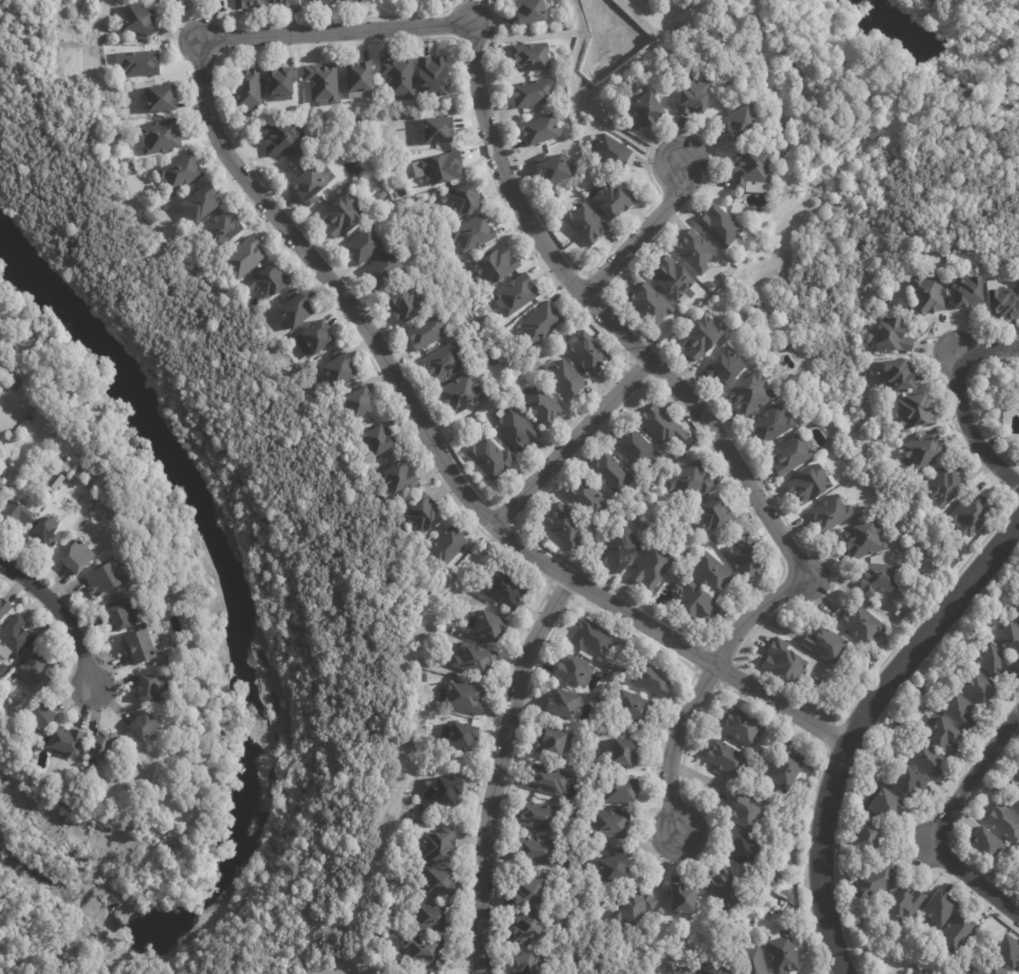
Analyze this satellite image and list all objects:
building: (348, 0)
building: (362, 0)
building: (167, 1)
building: (320, 1)
building: (283, 3)
building: (247, 4)
building: (529, 10)
road: (576, 14)
road: (982, 15)
road: (644, 20)
building: (139, 21)
park: (977, 25)
road: (526, 32)
road: (333, 37)
building: (531, 57)
road: (637, 61)
building: (138, 63)
building: (399, 77)
building: (432, 77)
building: (359, 79)
building: (323, 82)
building: (281, 84)
building: (248, 87)
building: (532, 94)
building: (161, 98)
building: (693, 98)
road: (856, 107)
building: (645, 111)
road: (602, 117)
building: (740, 124)
building: (437, 130)
building: (540, 130)
building: (121, 136)
building: (159, 137)
building: (283, 140)
building: (610, 152)
building: (443, 169)
building: (754, 170)
building: (554, 171)
building: (179, 172)
building: (323, 176)
building: (309, 185)
building: (403, 193)
building: (383, 195)
building: (465, 200)
building: (203, 201)
building: (612, 201)
building: (341, 215)
building: (148, 217)
building: (586, 224)
building: (720, 227)
building: (221, 229)
building: (473, 234)
road: (640, 238)
building: (362, 246)
building: (694, 252)
building: (244, 258)
building: (735, 259)
building: (497, 266)
building: (382, 269)
building: (673, 279)
building: (268, 282)
building: (966, 292)
building: (517, 295)
building: (927, 295)
building: (404, 303)
building: (1003, 303)
building: (651, 305)
building: (296, 310)
building: (540, 323)
building: (428, 333)
building: (892, 335)
building: (701, 338)
building: (315, 339)
road: (986, 353)
building: (589, 354)
building: (0, 361)
building: (444, 364)
building: (726, 367)
building: (339, 368)
building: (508, 373)
building: (900, 376)
building: (566, 380)
building: (15, 384)
building: (461, 394)
building: (751, 394)
building: (358, 401)
building: (542, 405)
building: (915, 411)
building: (770, 425)
building: (661, 426)
building: (516, 430)
road: (968, 430)
road: (706, 435)
building: (379, 440)
building: (635, 447)
road: (566, 449)
building: (925, 449)
building: (677, 455)
building: (790, 455)
building: (490, 459)
road: (438, 466)
building: (612, 474)
building: (400, 478)
building: (690, 481)
building: (55, 482)
building: (946, 485)
building: (808, 486)
building: (2, 494)
building: (586, 499)
building: (971, 512)
building: (829, 513)
building: (712, 515)
building: (423, 516)
building: (15, 517)
building: (565, 527)
building: (45, 534)
building: (864, 540)
building: (445, 547)
building: (621, 551)
building: (76, 558)
building: (747, 558)
building: (651, 567)
building: (711, 574)
building: (880, 580)
building: (103, 581)
building: (505, 590)
building: (697, 603)
building: (3, 609)
building: (1015, 612)
building: (124, 616)
building: (419, 619)
road: (54, 622)
building: (152, 625)
building: (862, 625)
building: (487, 626)
building: (16, 637)
building: (591, 639)
building: (1008, 639)
building: (826, 645)
building: (138, 648)
building: (475, 661)
building: (992, 661)
building: (784, 662)
building: (623, 669)
building: (2, 671)
building: (573, 672)
building: (34, 673)
building: (653, 681)
building: (819, 685)
building: (975, 687)
building: (152, 690)
building: (918, 691)
building: (600, 698)
building: (464, 699)
building: (562, 705)
building: (634, 709)
building: (956, 710)
building: (41, 719)
road: (854, 722)
building: (742, 726)
building: (143, 728)
building: (942, 737)
building: (462, 738)
building: (66, 743)
building: (553, 743)
building: (102, 747)
building: (624, 755)
building: (726, 759)
building: (924, 759)
building: (785, 769)
building: (1017, 773)
road: (494, 775)
building: (548, 781)
building: (906, 783)
building: (445, 791)
building: (621, 792)
building: (1013, 800)
building: (879, 804)
building: (744, 813)
building: (539, 817)
building: (1003, 822)
building: (610, 825)
road: (937, 825)
building: (865, 836)
building: (979, 841)
building: (438, 847)
building: (745, 852)
building: (541, 853)
building: (615, 868)
building: (873, 880)
building: (439, 883)
building: (725, 891)
building: (527, 894)
building: (682, 900)
building: (898, 903)
building: (632, 906)
building: (935, 909)
building: (432, 918)
building: (527, 928)
building: (953, 932)
building: (1004, 952)
building: (425, 953)
building: (781, 953)
building: (751, 961)
building: (531, 965)
building: (713, 969)
building: (990, 969)
building: (680, 971)
building: (949, 972)

